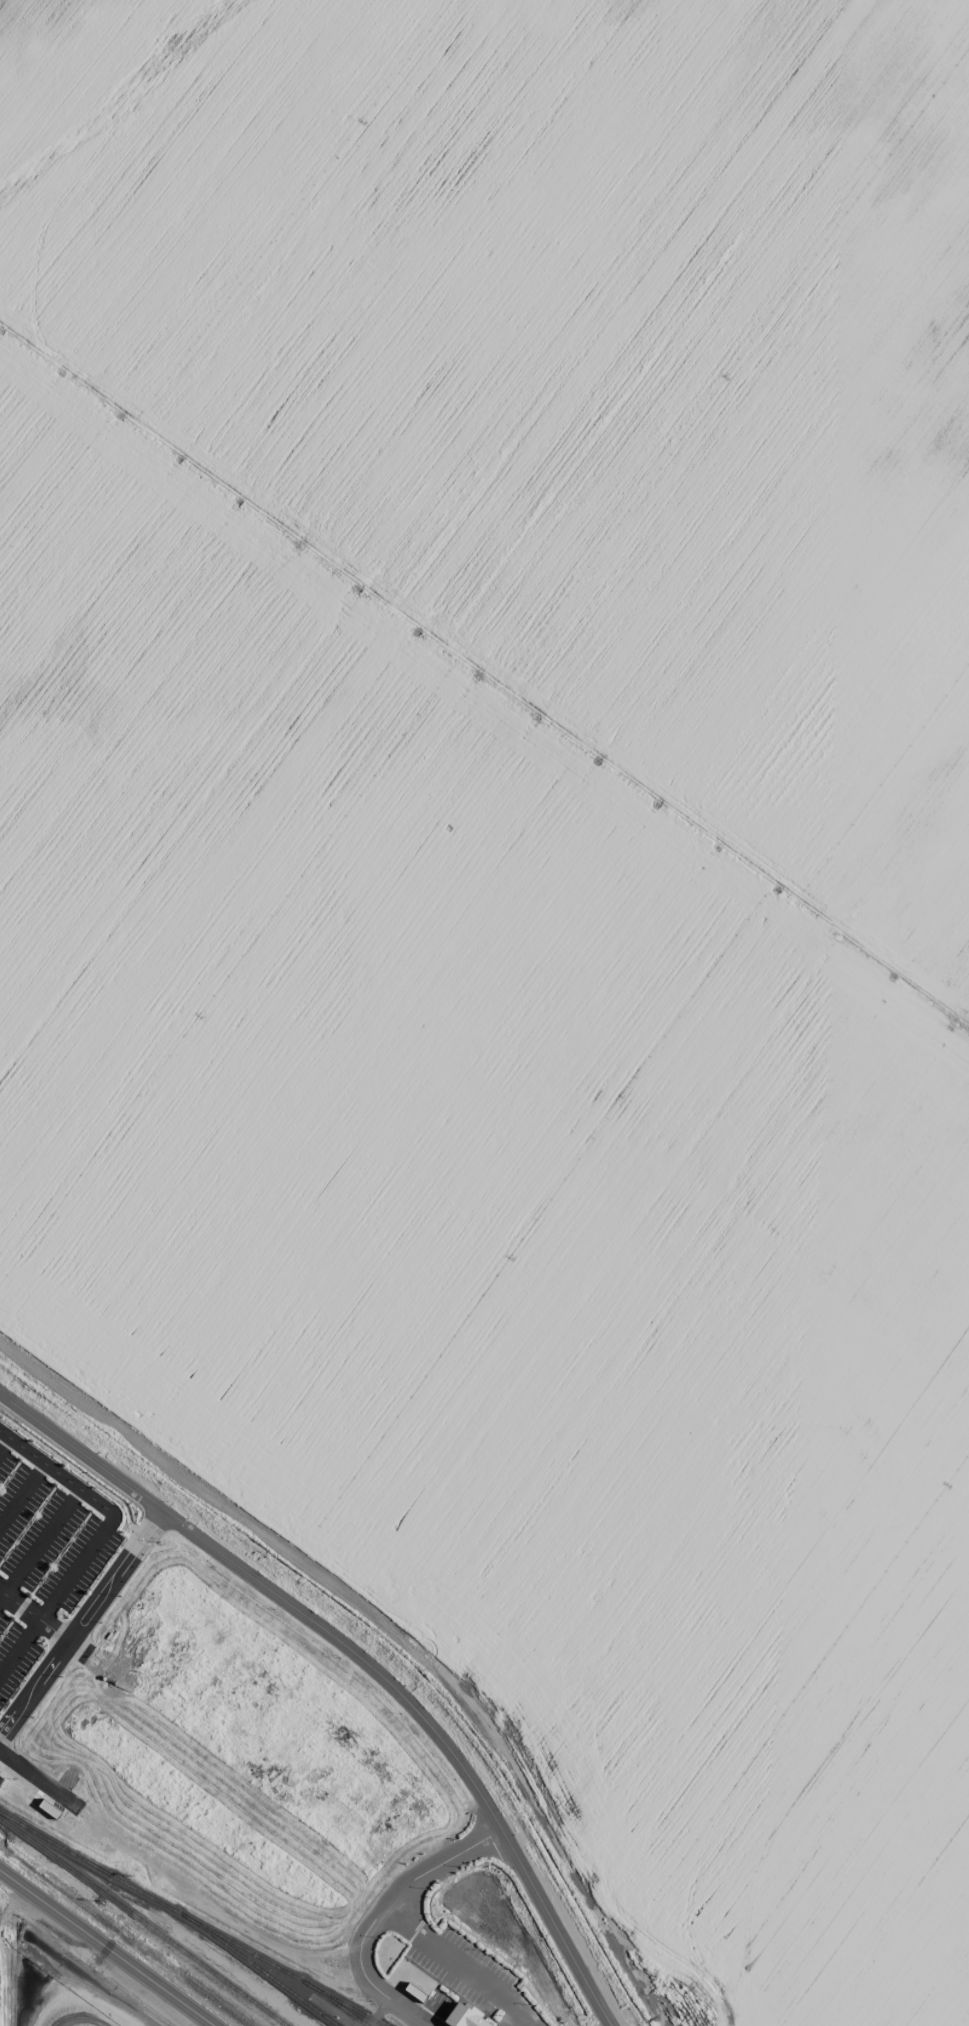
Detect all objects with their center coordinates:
road: (3, 1442)
road: (21, 1492)
road: (96, 1538)
road: (38, 1544)
parking lot: (41, 1563)
road: (34, 1616)
road: (80, 1623)
road: (359, 1658)
road: (40, 1779)
road: (376, 1914)
railway: (190, 1919)
railway: (143, 1921)
road: (105, 1949)
road: (456, 1962)
railway: (259, 1969)
wastewater plant: (67, 1990)
railway: (332, 2001)
building: (463, 2016)

